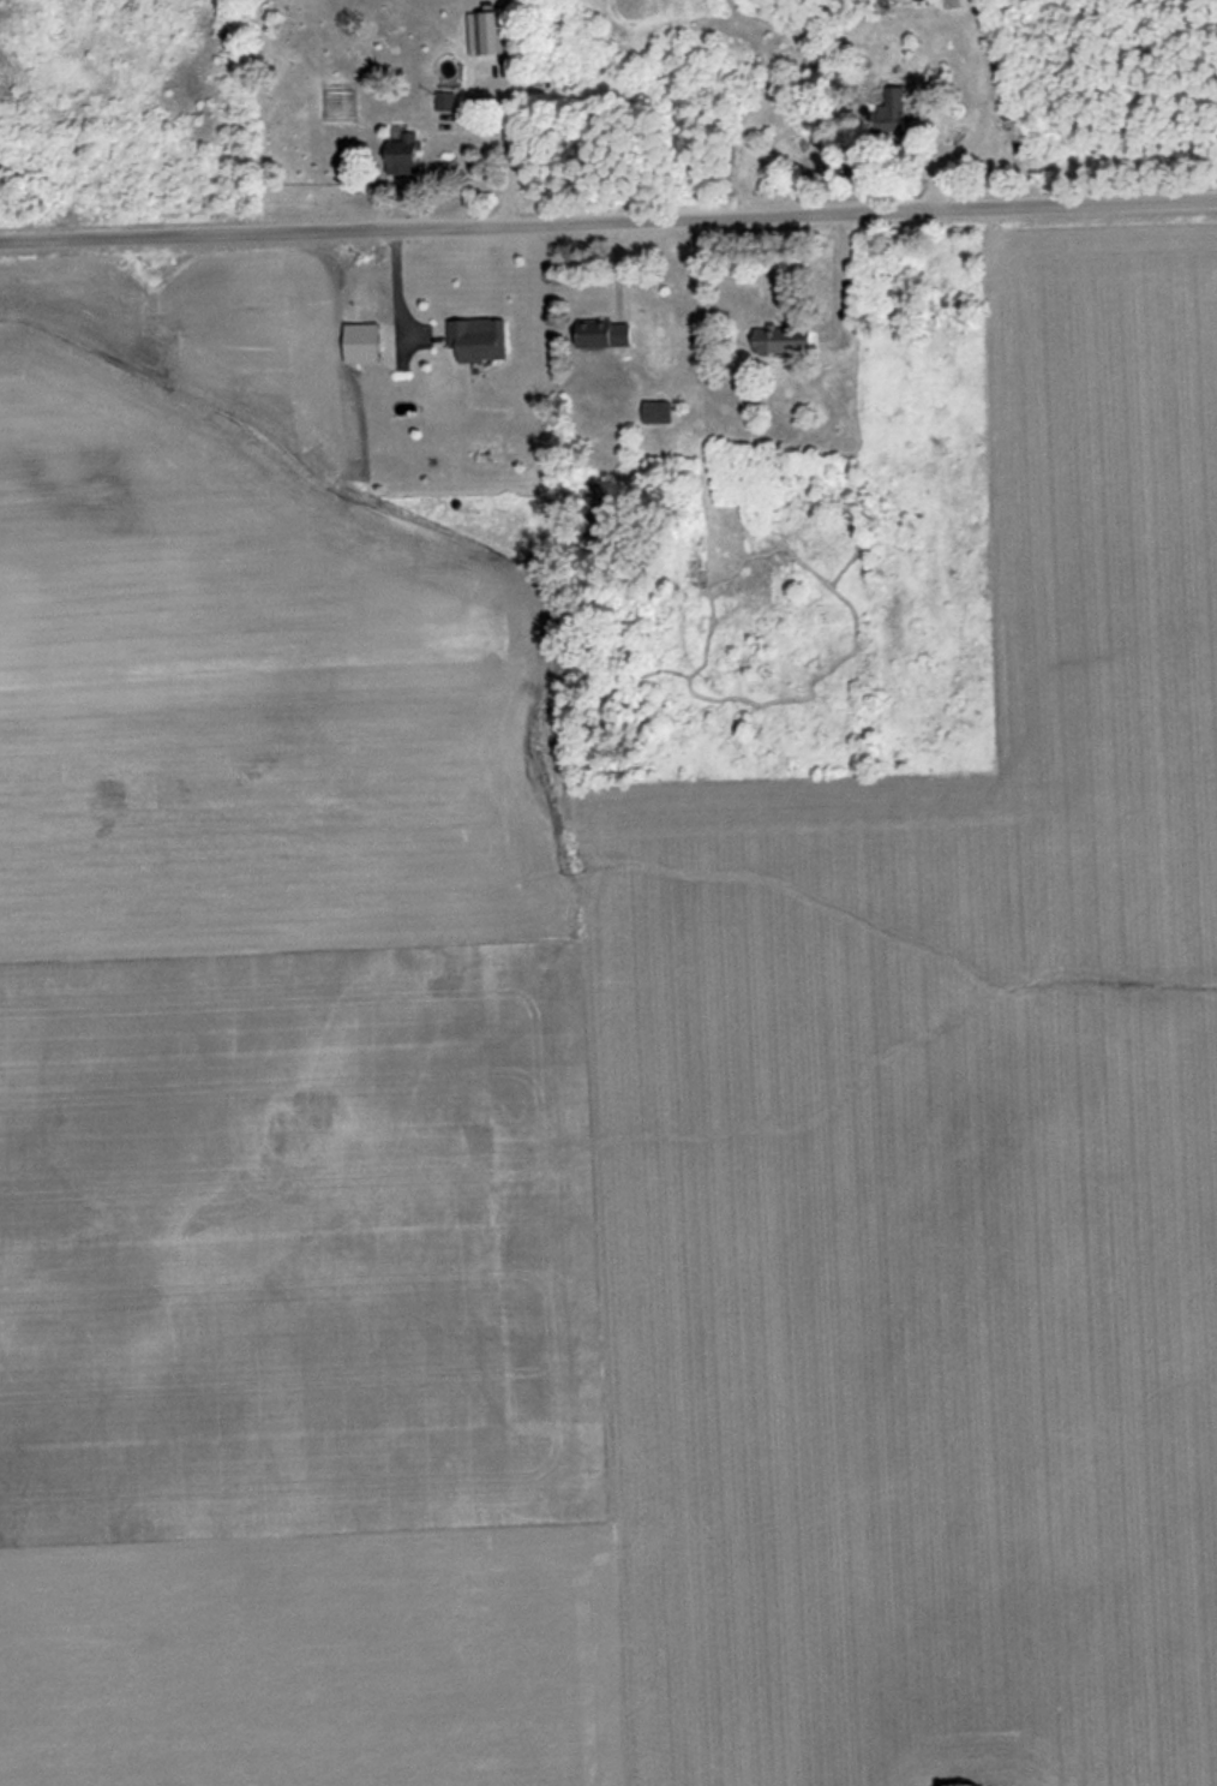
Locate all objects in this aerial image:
building: (450, 101)
building: (899, 110)
building: (410, 155)
road: (608, 215)
building: (611, 334)
building: (789, 339)
building: (485, 341)
building: (661, 413)

